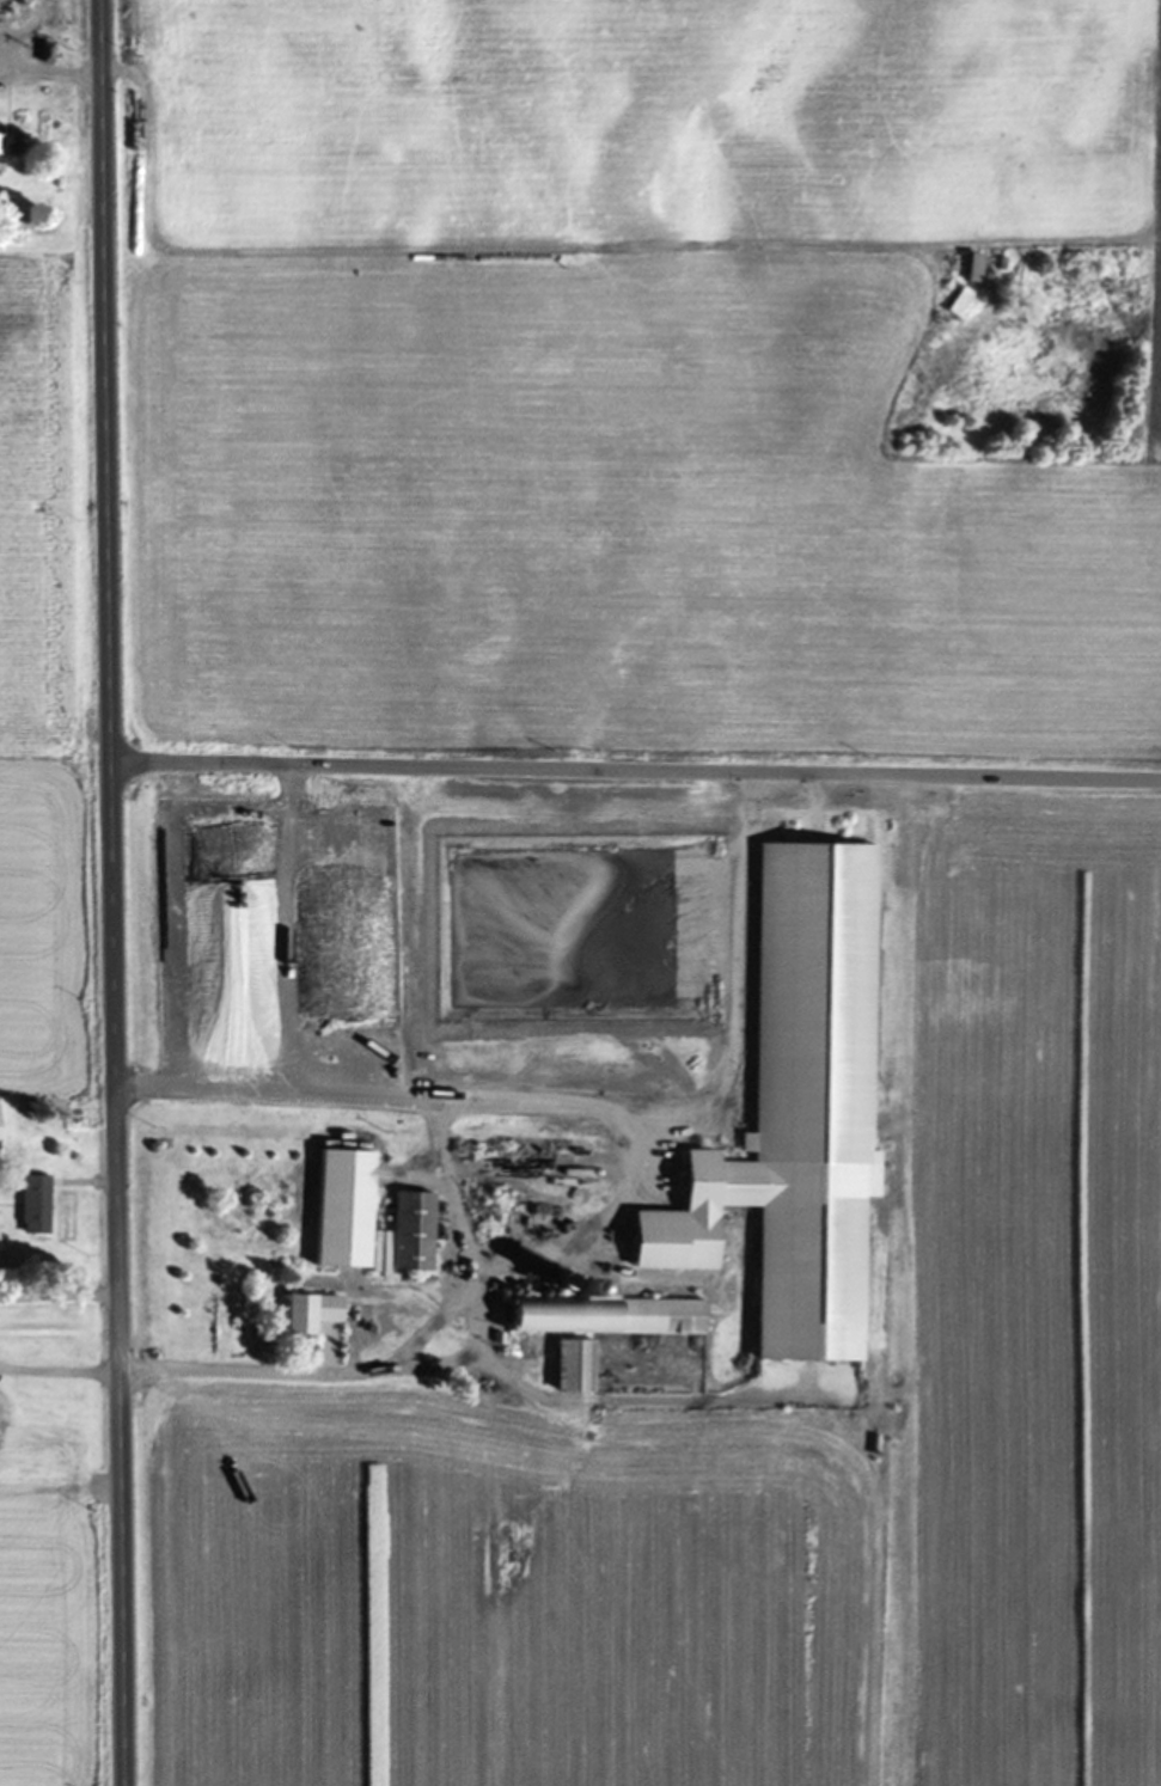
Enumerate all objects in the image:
road: (51, 62)
building: (2, 153)
building: (979, 268)
road: (634, 771)
building: (269, 855)
road: (108, 893)
building: (308, 907)
building: (1, 1125)
road: (448, 1191)
road: (623, 1193)
building: (37, 1204)
building: (346, 1209)
building: (414, 1229)
building: (800, 1246)
road: (56, 1296)
building: (314, 1311)
building: (610, 1315)
road: (434, 1320)
building: (578, 1365)
road: (57, 1371)

